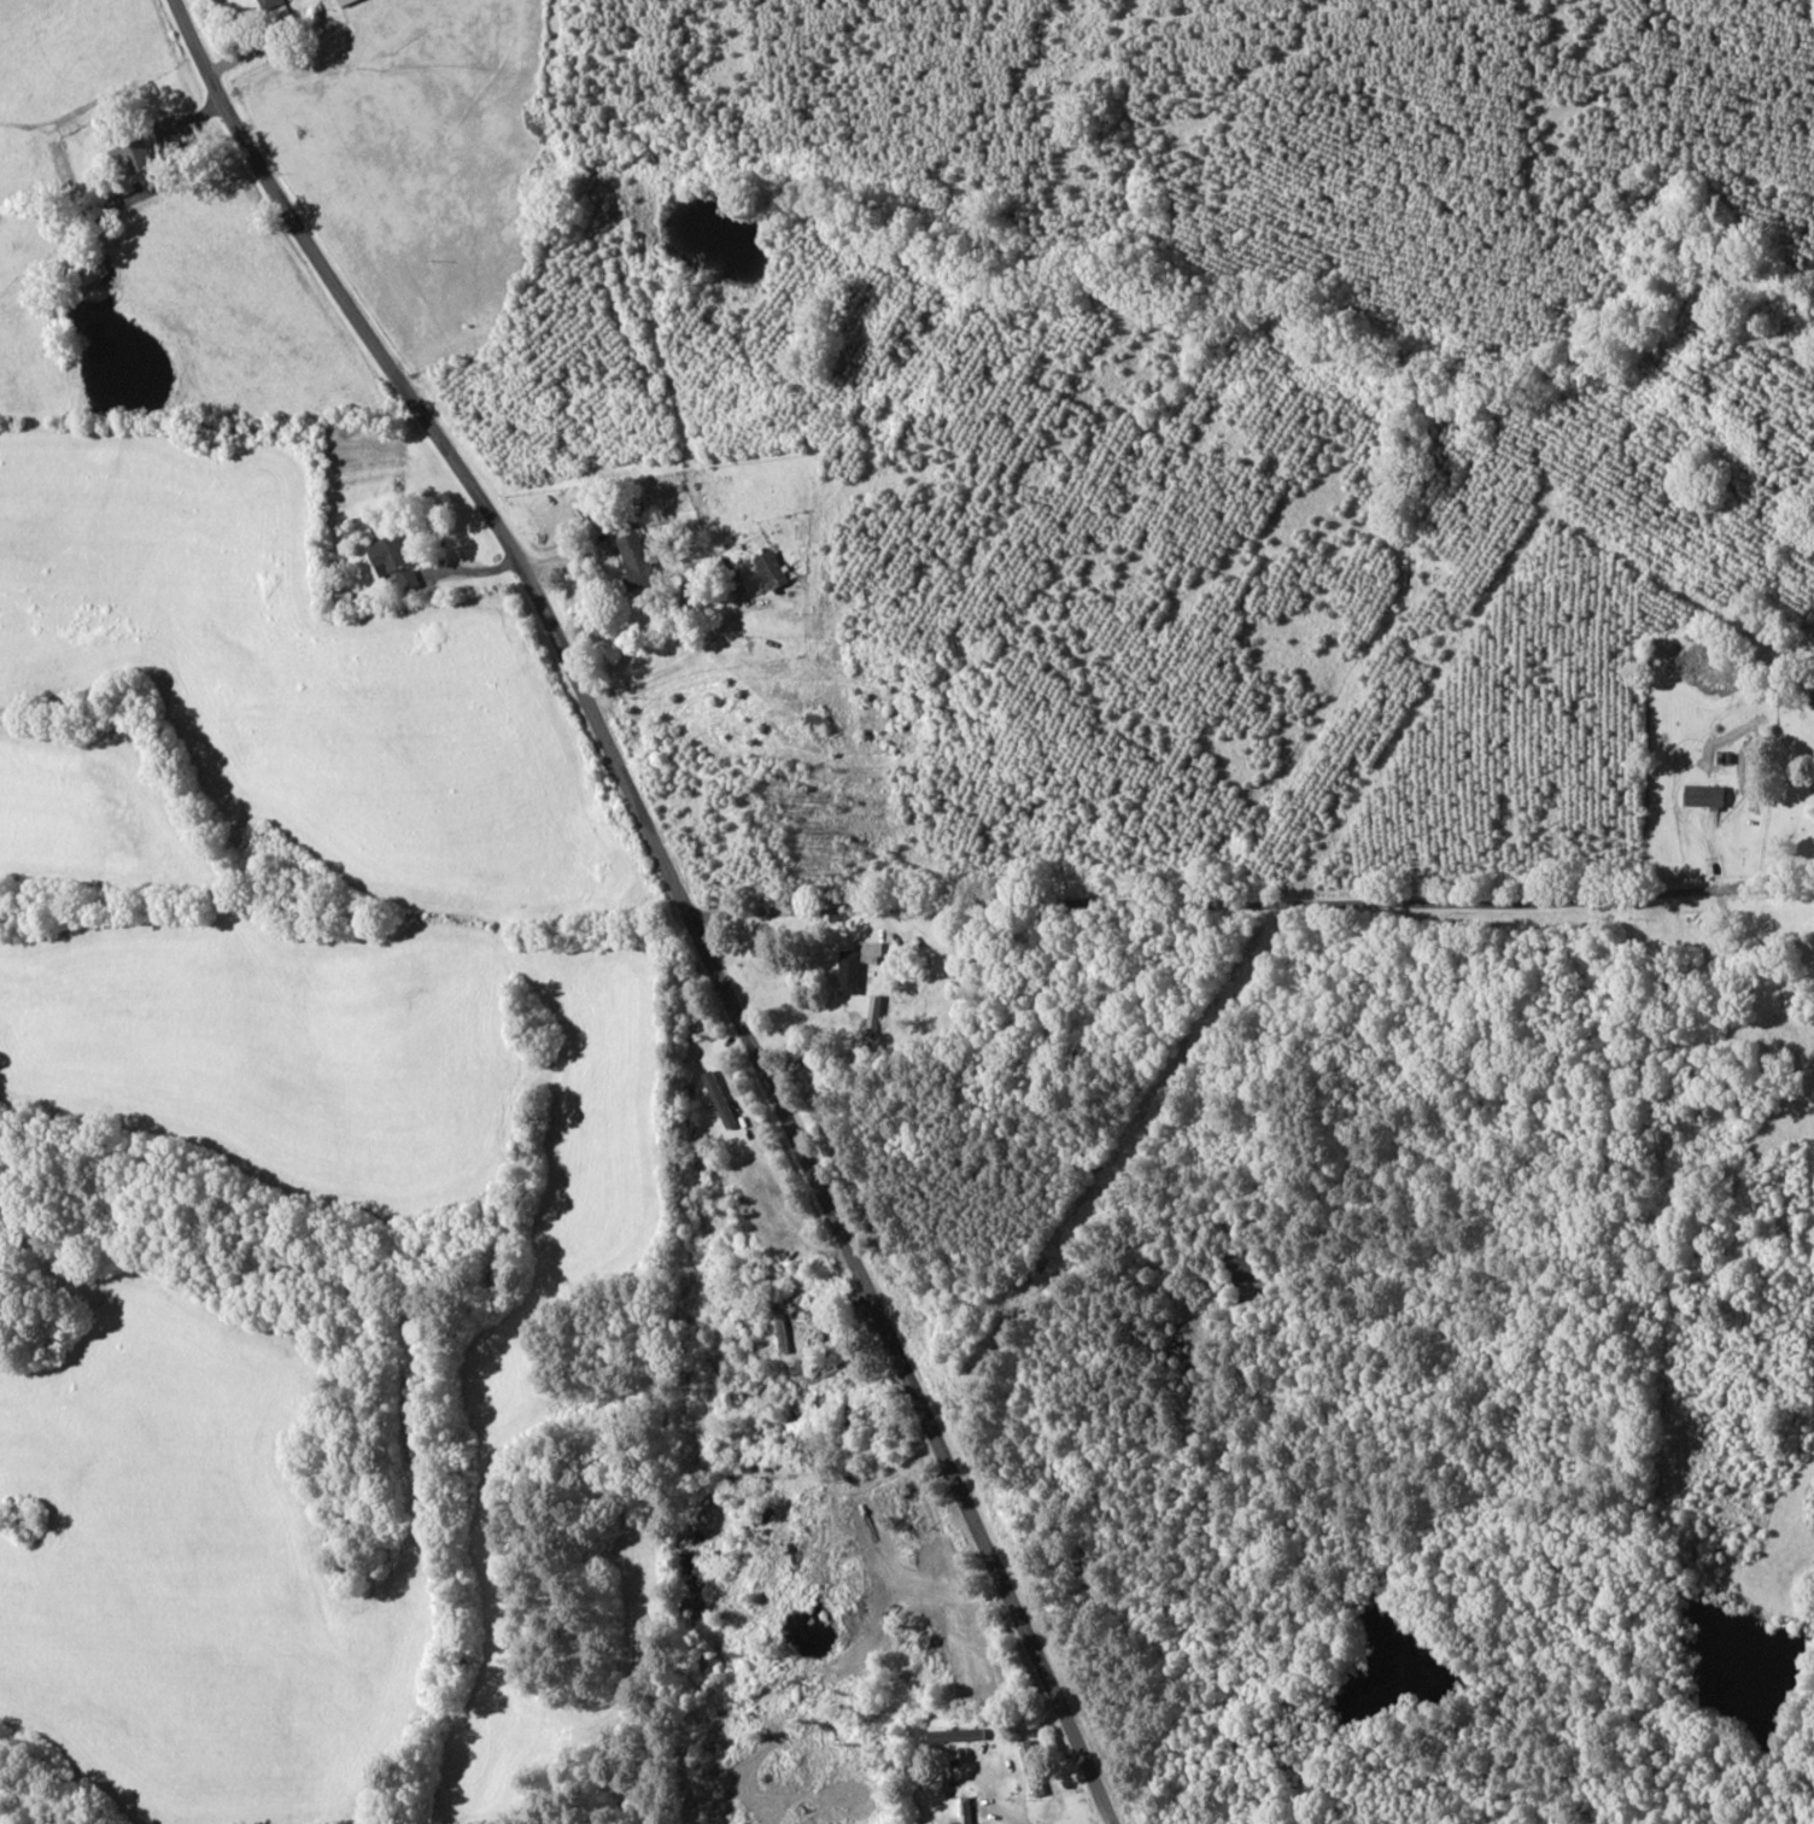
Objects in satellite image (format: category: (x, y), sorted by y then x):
building: (267, 1)
building: (346, 1)
building: (134, 163)
building: (93, 268)
building: (639, 560)
building: (396, 562)
building: (773, 568)
building: (1810, 696)
building: (1707, 795)
road: (1253, 898)
road: (687, 899)
building: (858, 965)
building: (876, 1016)
building: (959, 1736)
building: (1032, 1769)
building: (964, 1810)

